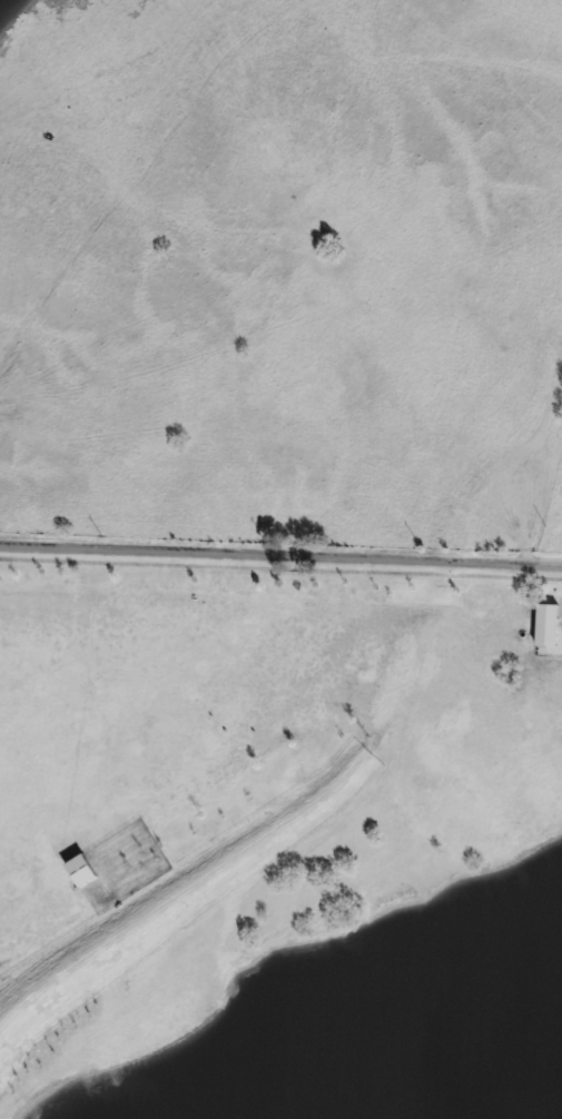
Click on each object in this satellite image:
road: (280, 554)
building: (550, 624)

